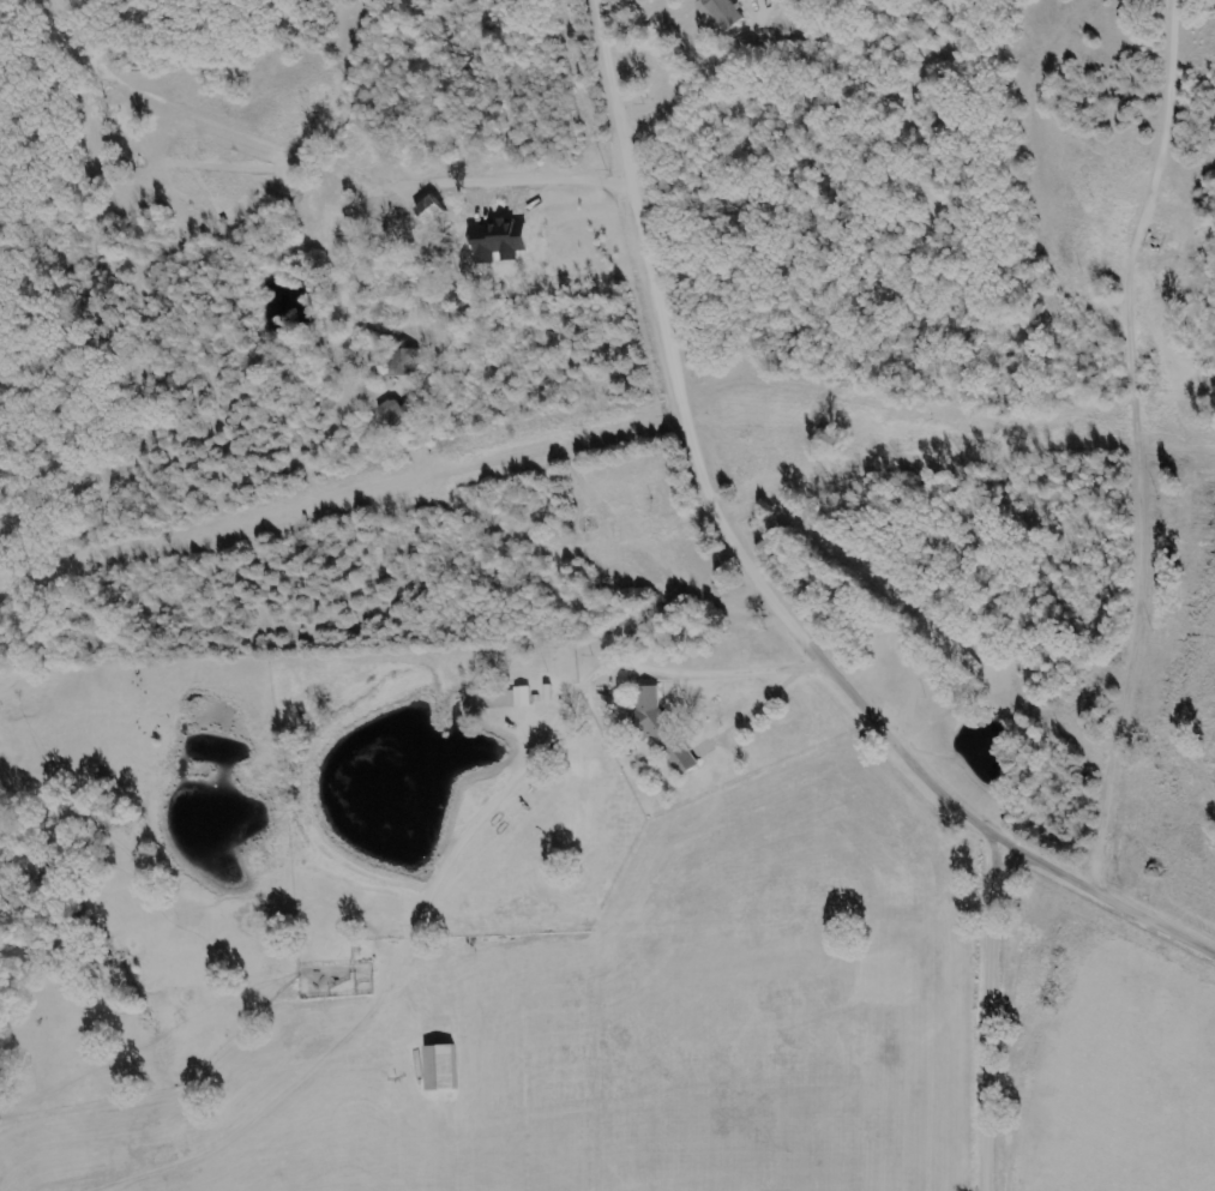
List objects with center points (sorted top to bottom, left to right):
building: (723, 12)
building: (404, 362)
building: (395, 411)
road: (764, 572)
building: (664, 730)
road: (997, 1016)
building: (445, 1067)

